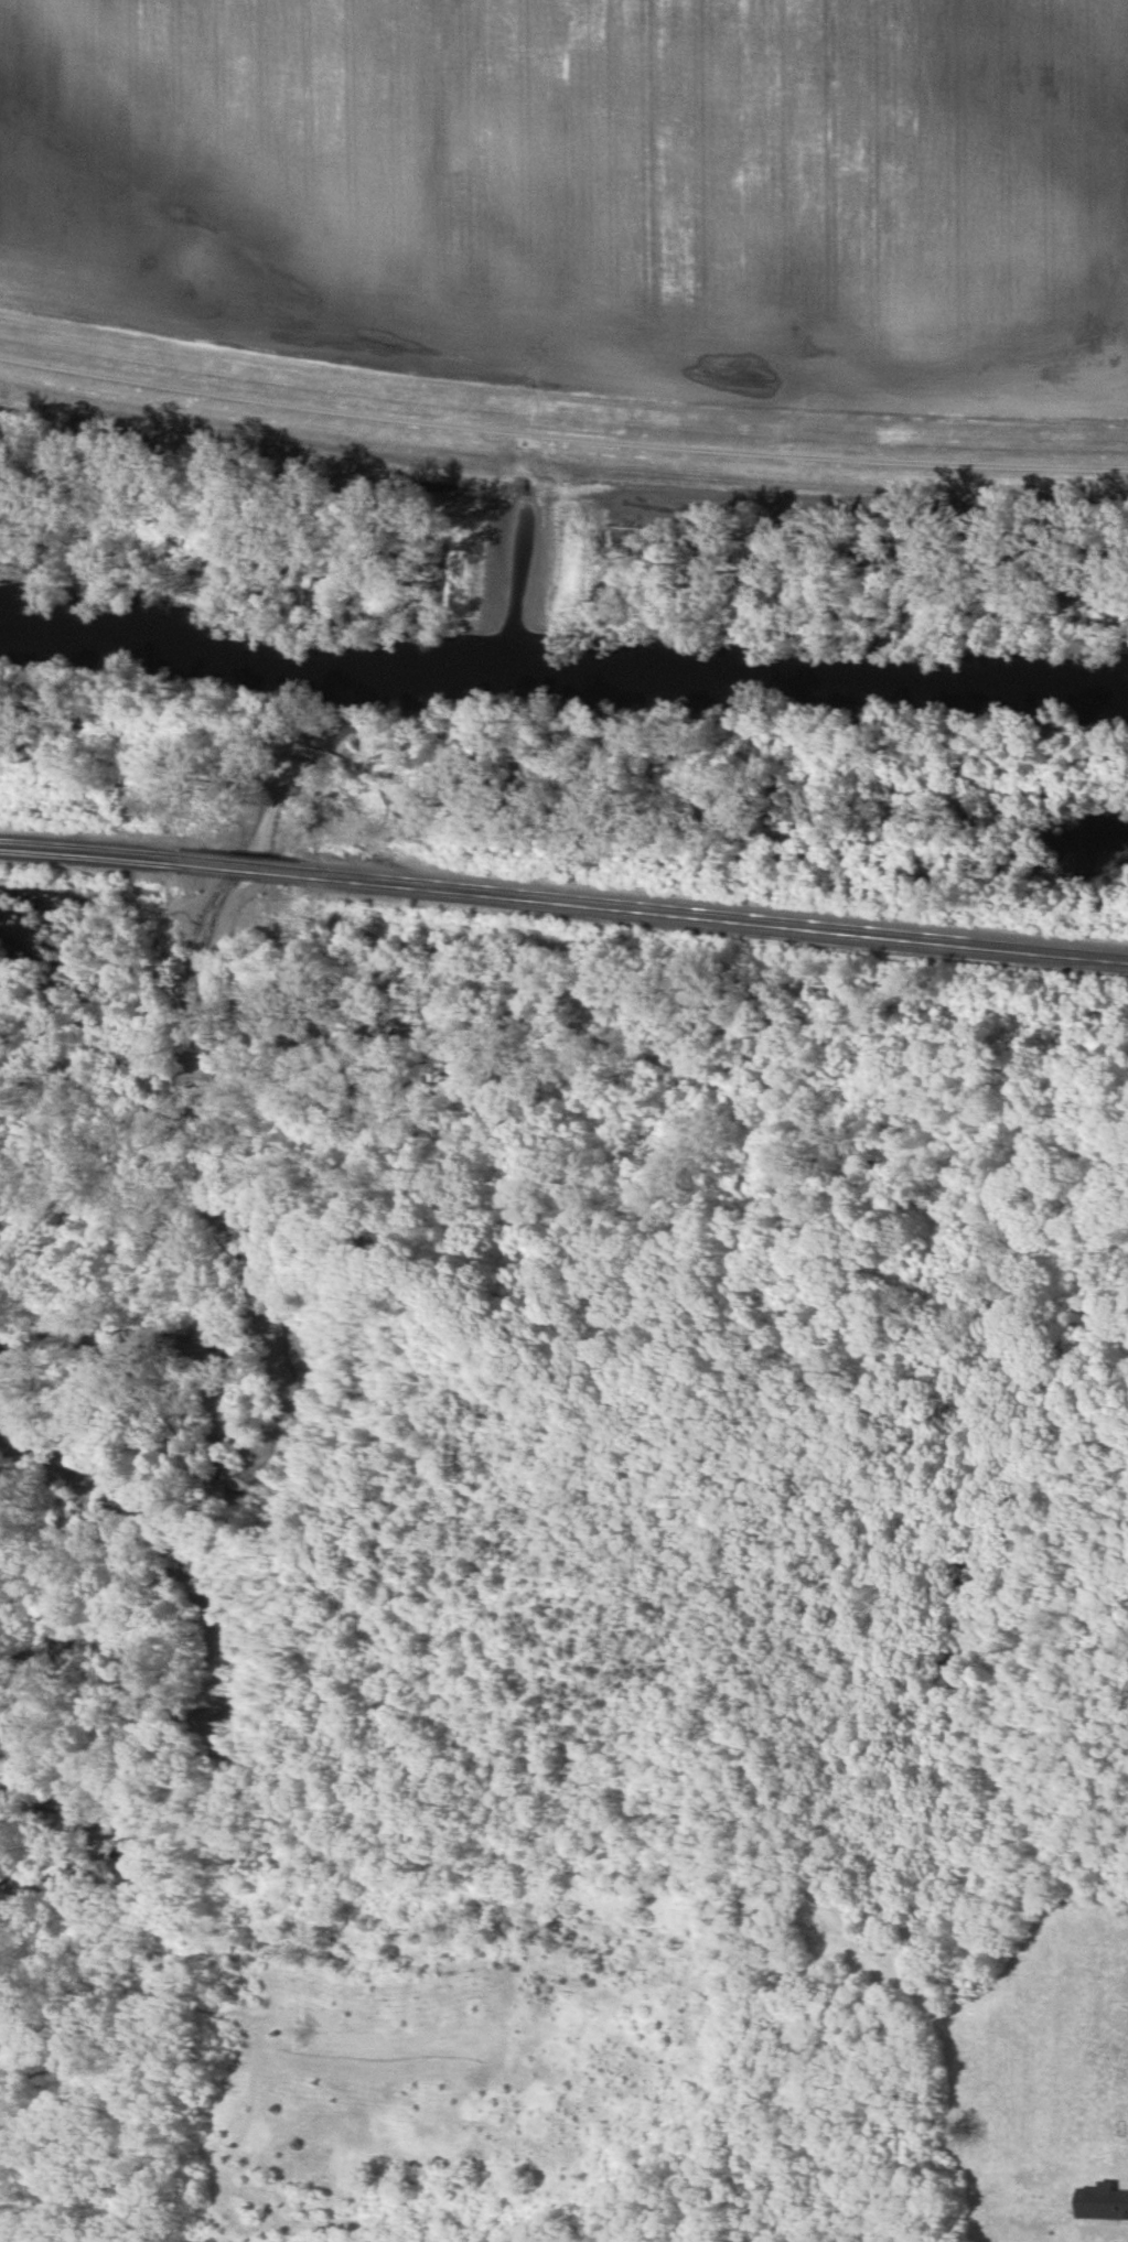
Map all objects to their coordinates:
crop: (594, 188)
road: (561, 431)
river: (562, 670)
railway: (563, 891)
railway: (563, 901)
crop: (1030, 2061)
building: (1103, 2201)

